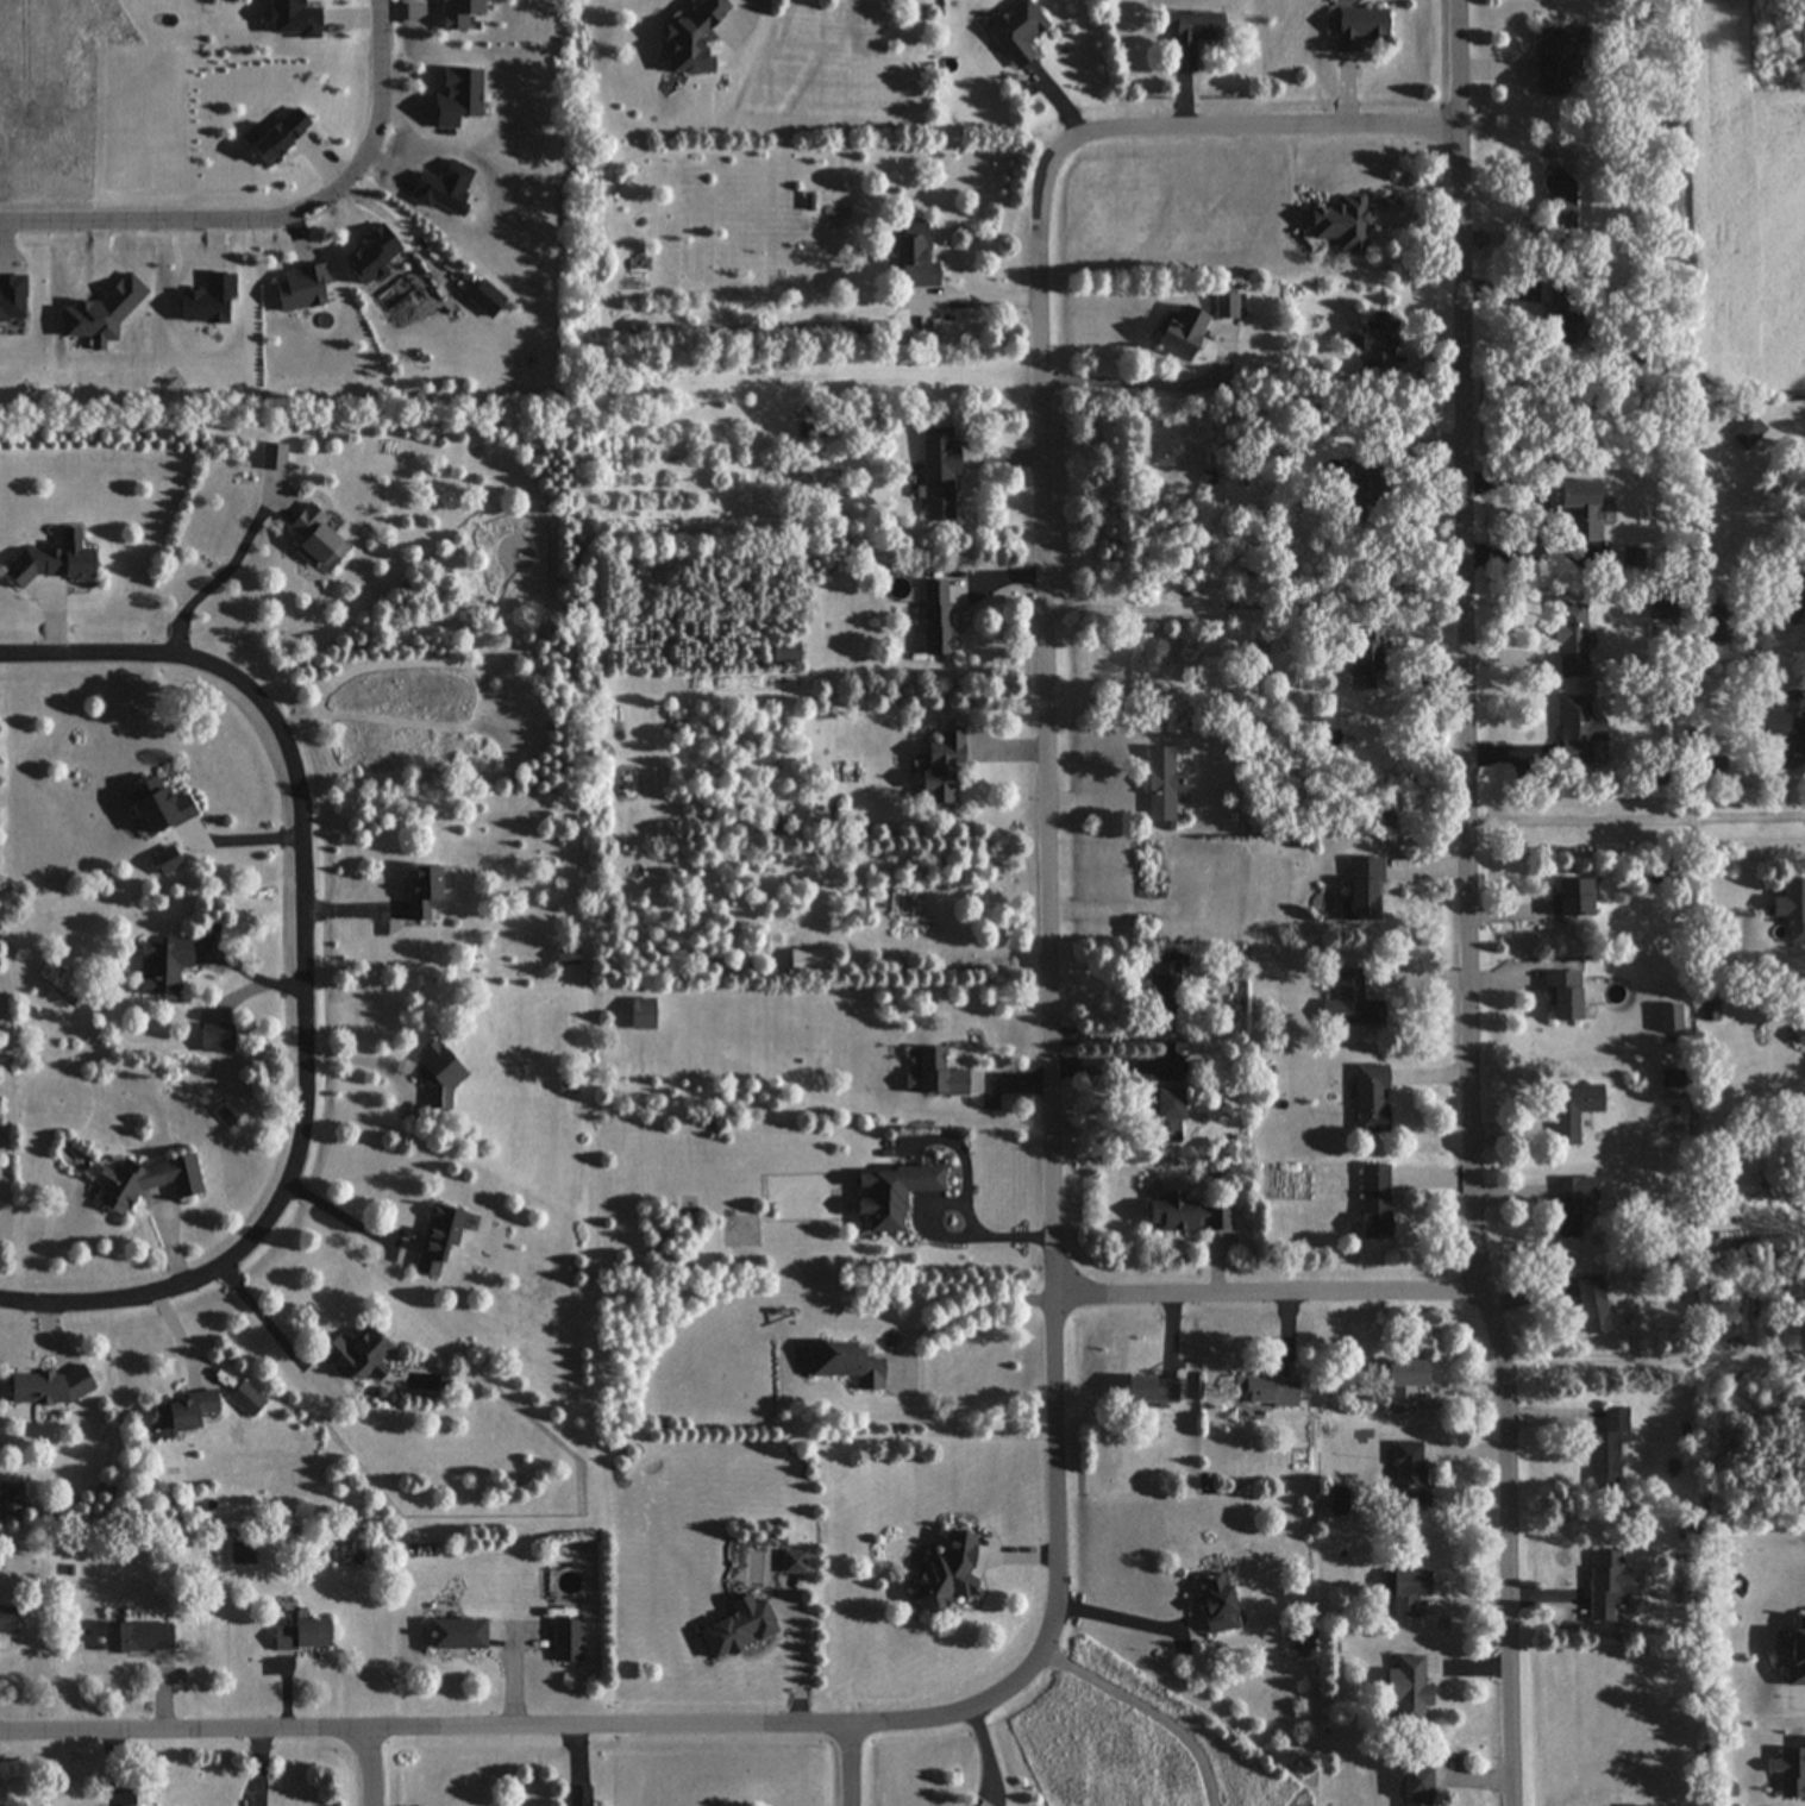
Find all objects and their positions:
road: (748, 10)
building: (458, 12)
building: (1358, 27)
building: (1015, 33)
building: (1191, 37)
building: (690, 38)
building: (1556, 57)
building: (457, 94)
building: (275, 130)
building: (1558, 201)
road: (274, 215)
building: (1340, 226)
building: (374, 252)
building: (913, 256)
building: (302, 284)
road: (972, 295)
building: (1560, 325)
building: (1179, 331)
building: (1377, 344)
road: (1137, 383)
building: (1747, 432)
building: (270, 456)
building: (938, 472)
building: (1355, 493)
road: (1043, 507)
building: (1578, 508)
building: (313, 537)
building: (48, 558)
road: (213, 572)
building: (1790, 597)
building: (935, 616)
building: (1718, 623)
building: (1568, 640)
building: (1366, 650)
road: (162, 652)
building: (784, 653)
building: (1787, 722)
building: (1575, 728)
building: (939, 767)
building: (1160, 783)
building: (153, 804)
road: (1636, 814)
road: (242, 836)
building: (162, 860)
building: (1364, 889)
building: (419, 891)
building: (1572, 898)
road: (1469, 904)
building: (1792, 910)
building: (565, 958)
building: (158, 964)
building: (1164, 984)
building: (1562, 996)
building: (1350, 1003)
building: (1801, 1003)
building: (640, 1015)
building: (1668, 1018)
building: (1799, 1035)
building: (933, 1074)
building: (437, 1077)
building: (1671, 1079)
building: (1371, 1099)
building: (1573, 1111)
building: (1162, 1115)
road: (307, 1133)
building: (140, 1180)
building: (889, 1194)
building: (1373, 1202)
building: (1573, 1203)
building: (1185, 1214)
road: (350, 1215)
building: (435, 1236)
road: (948, 1237)
building: (1592, 1305)
road: (971, 1306)
road: (1267, 1306)
road: (272, 1328)
building: (352, 1353)
building: (847, 1365)
building: (1404, 1384)
building: (46, 1386)
building: (1149, 1390)
building: (1264, 1391)
building: (245, 1398)
building: (182, 1411)
building: (1606, 1448)
building: (1408, 1474)
building: (10, 1503)
building: (792, 1562)
building: (946, 1574)
building: (1609, 1586)
building: (1406, 1592)
building: (1216, 1603)
road: (1122, 1614)
building: (7, 1619)
building: (738, 1628)
building: (455, 1633)
building: (301, 1635)
building: (136, 1638)
building: (566, 1639)
building: (1795, 1654)
building: (1410, 1689)
road: (1149, 1711)
road: (708, 1720)
road: (852, 1763)
road: (374, 1764)
building: (1416, 1787)
building: (579, 1795)

